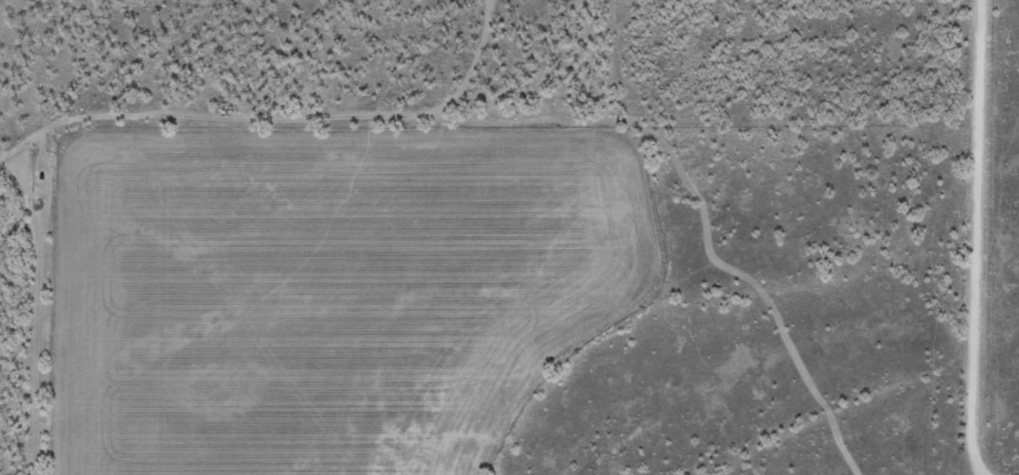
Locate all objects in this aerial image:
road: (976, 238)

